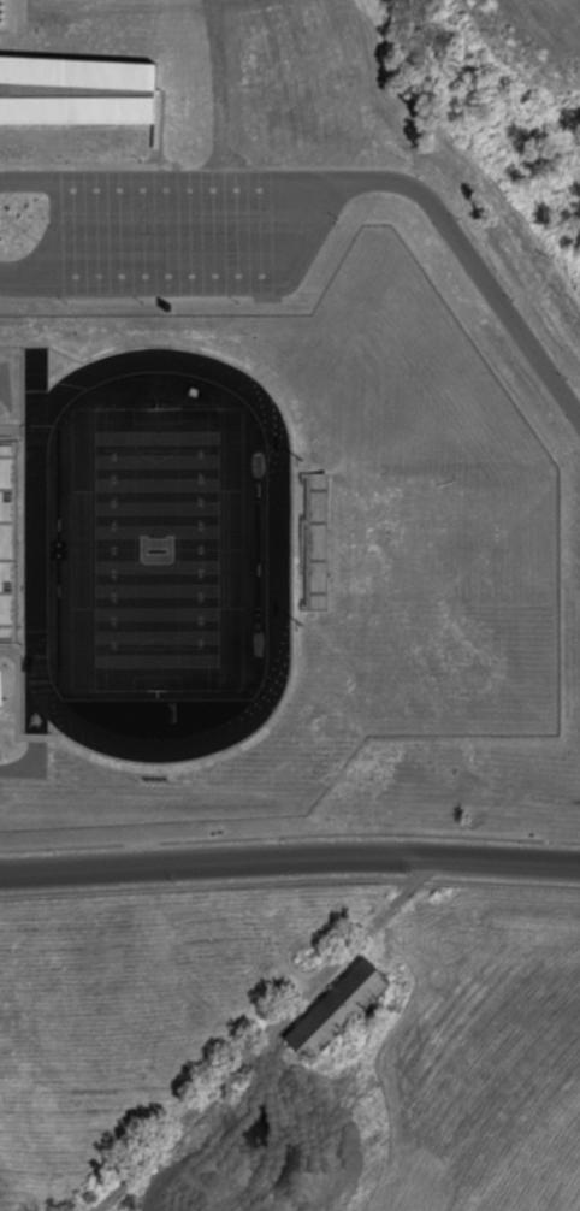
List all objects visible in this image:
building: (77, 89)
street lamp: (67, 161)
street lamp: (142, 161)
street lamp: (248, 161)
street lamp: (420, 175)
road: (333, 207)
street lamp: (461, 218)
street lamp: (339, 220)
parking lot: (166, 230)
road: (479, 273)
street lamp: (515, 300)
street lamp: (239, 302)
street lamp: (66, 303)
street lamp: (142, 303)
street lamp: (568, 379)
park: (156, 548)
track: (158, 554)
building: (1, 690)
road: (289, 861)
building: (338, 1008)
road: (265, 1038)

